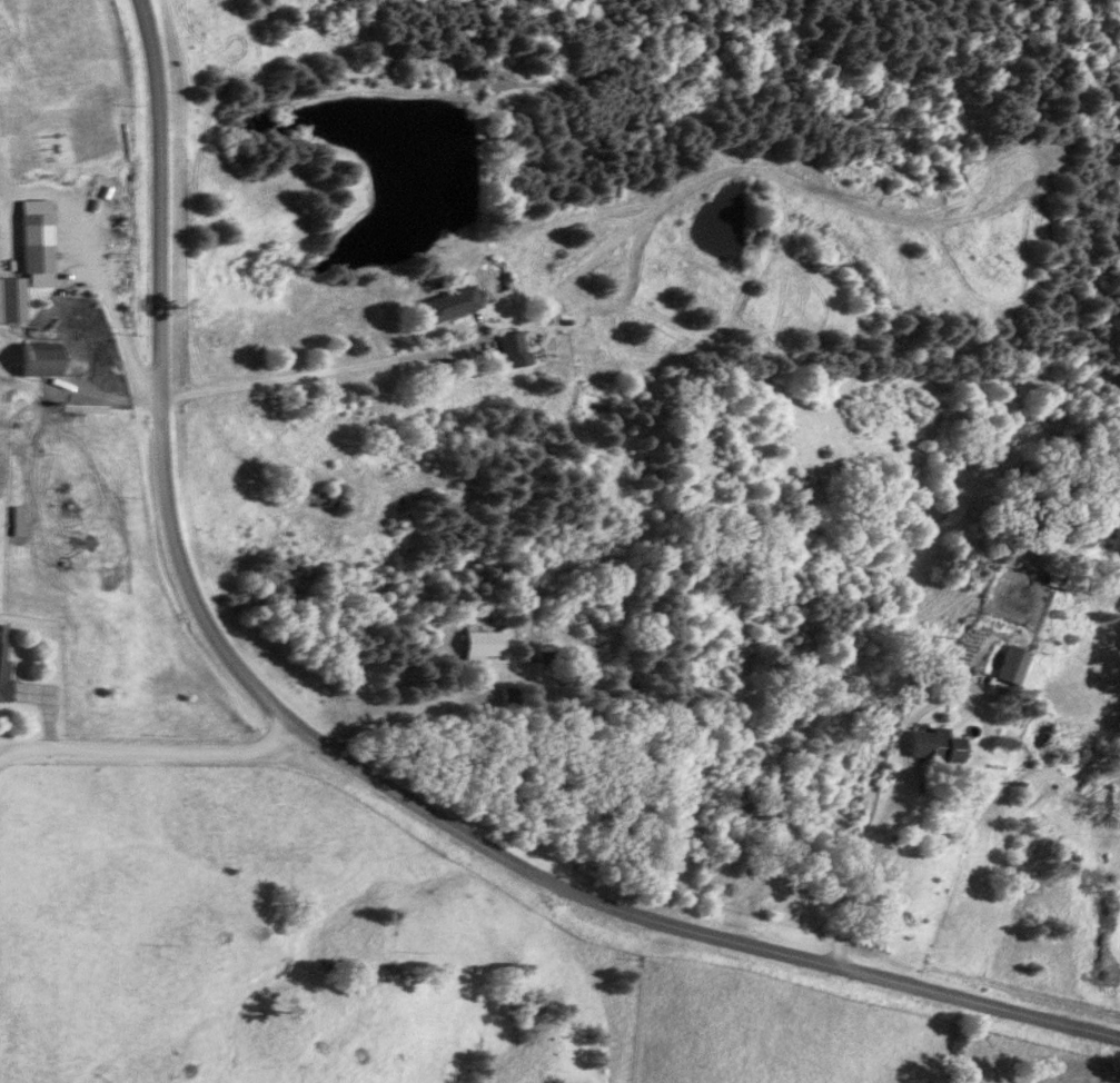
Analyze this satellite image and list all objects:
building: (30, 244)
building: (10, 300)
building: (446, 305)
road: (107, 309)
building: (507, 349)
building: (31, 359)
road: (316, 371)
building: (319, 500)
building: (473, 644)
building: (1004, 665)
building: (2, 667)
road: (413, 719)
building: (926, 745)
road: (150, 761)
road: (339, 767)
road: (893, 880)
road: (1118, 1077)

